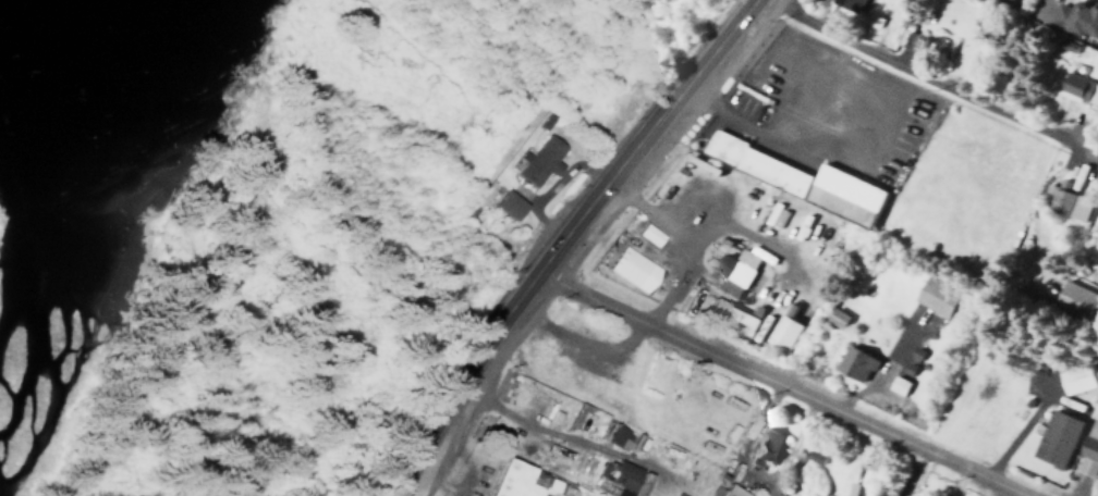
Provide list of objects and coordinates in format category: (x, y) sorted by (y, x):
building: (1009, 0)
building: (847, 4)
building: (1075, 17)
building: (918, 42)
road: (935, 76)
building: (1078, 89)
building: (536, 159)
building: (797, 179)
building: (1064, 202)
building: (505, 203)
road: (559, 240)
building: (737, 264)
building: (632, 269)
building: (934, 296)
building: (1073, 298)
building: (730, 317)
building: (833, 318)
building: (781, 332)
building: (852, 363)
building: (1075, 379)
road: (786, 382)
building: (895, 385)
building: (611, 434)
building: (1054, 438)
building: (761, 447)
building: (1087, 450)
building: (812, 456)
building: (510, 479)
building: (619, 479)
building: (723, 491)

